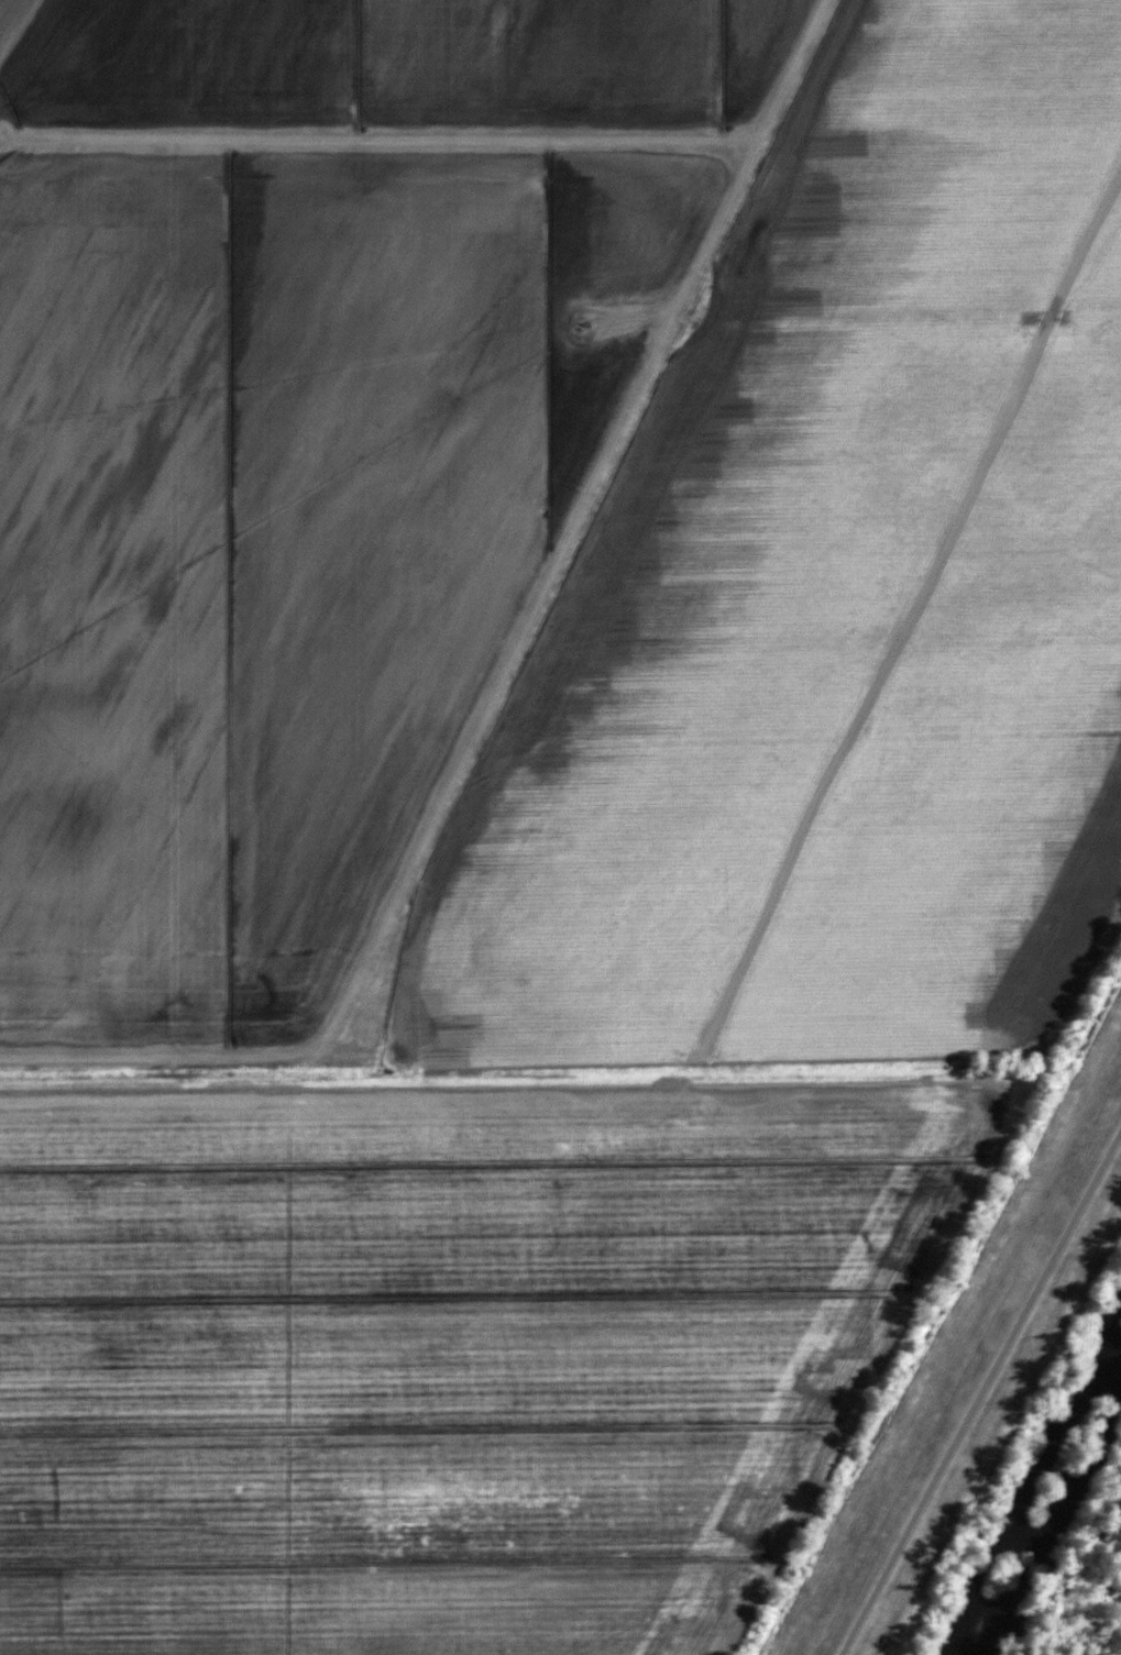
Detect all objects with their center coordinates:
road: (979, 1392)

